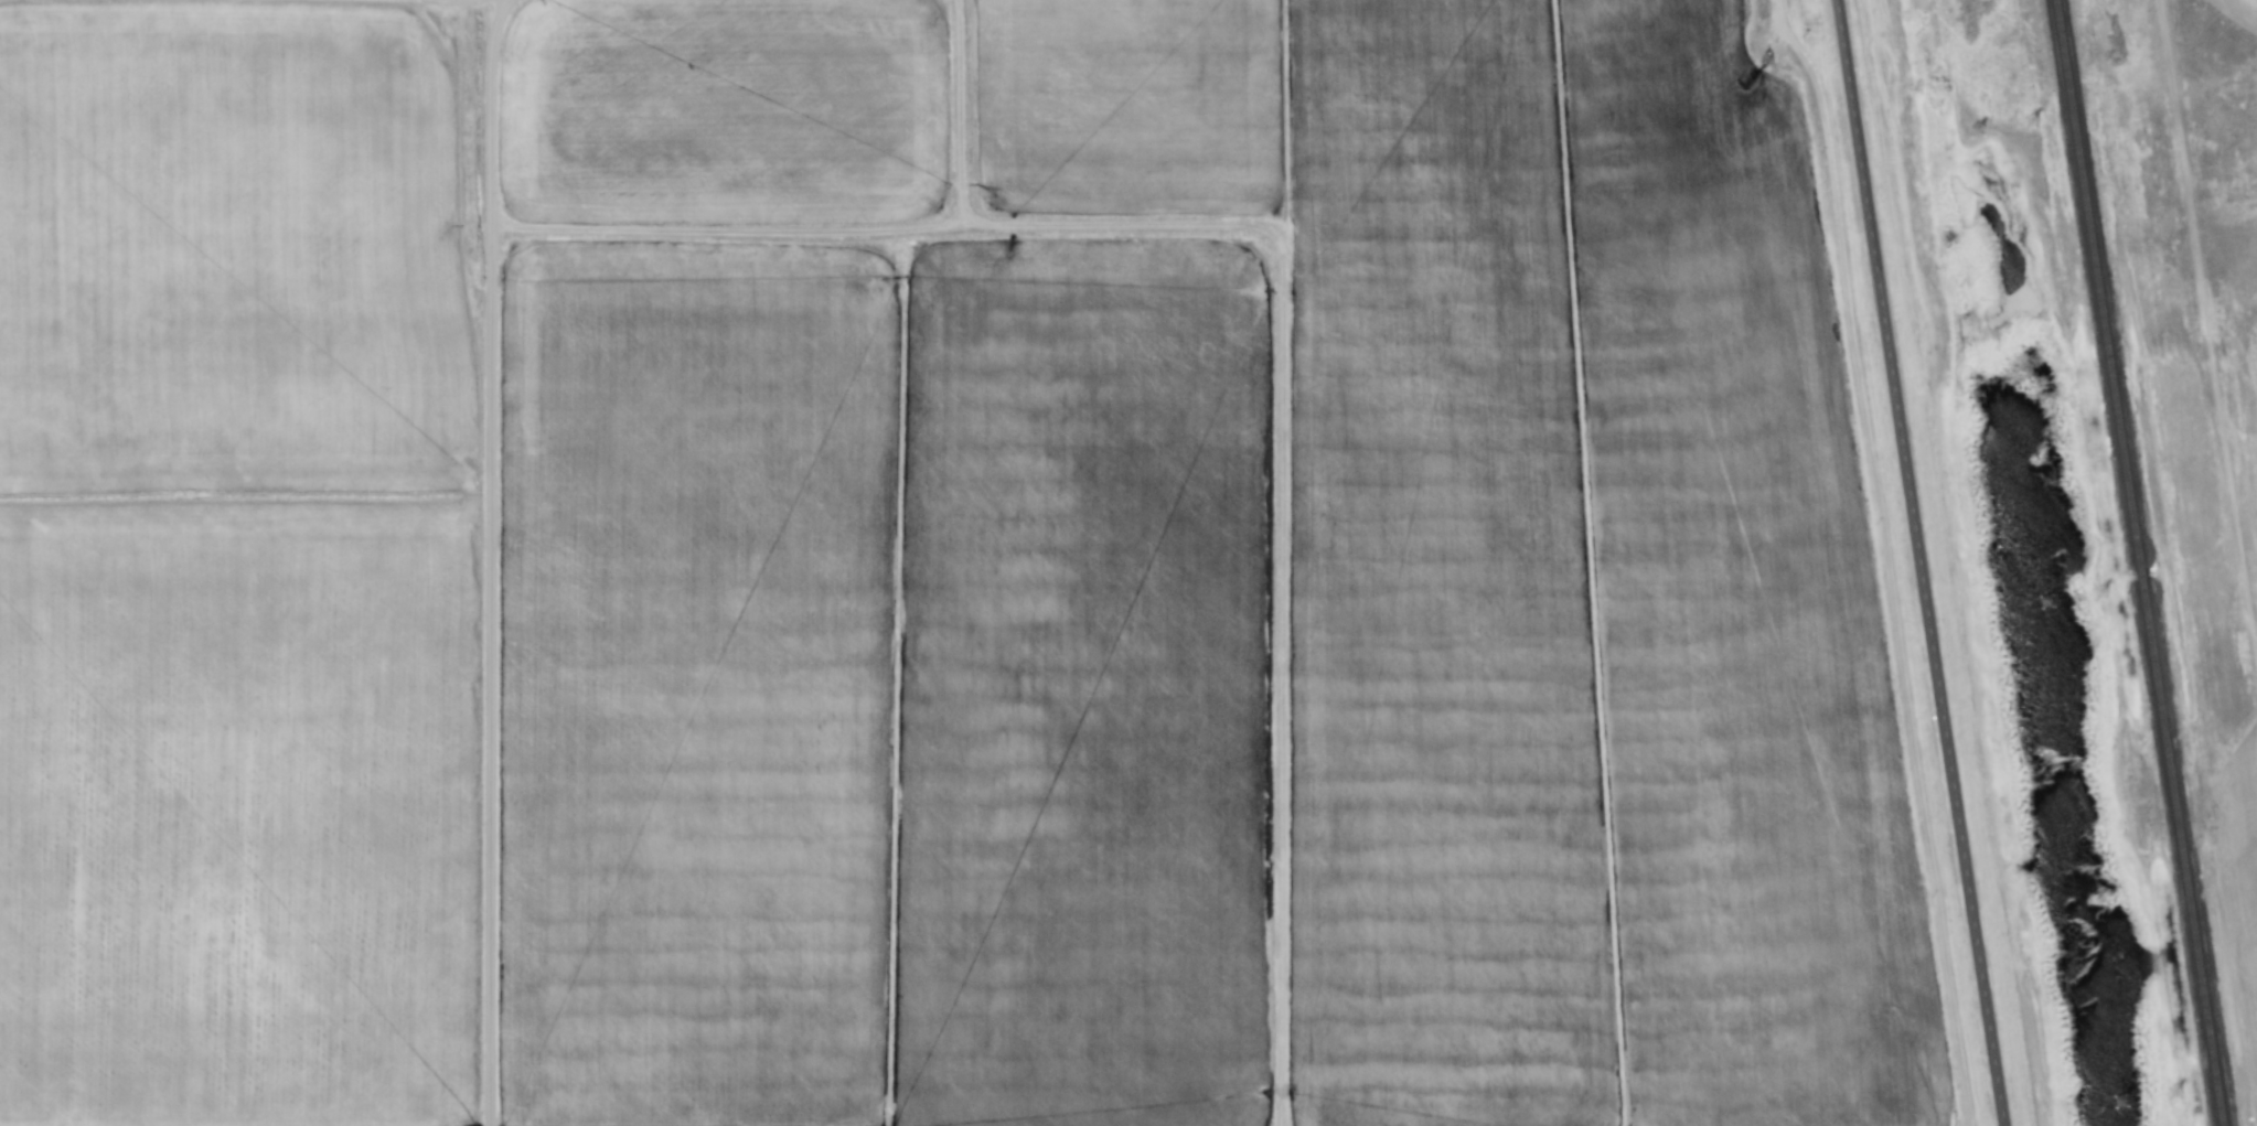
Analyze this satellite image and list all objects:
railway: (2064, 58)
power tower: (2032, 122)
power tower: (1977, 131)
railway: (2108, 345)
road: (1918, 562)
railway: (2146, 579)
power tower: (2099, 596)
power tower: (2047, 604)
railway: (2186, 855)
power tower: (2171, 1097)
power tower: (2120, 1104)

